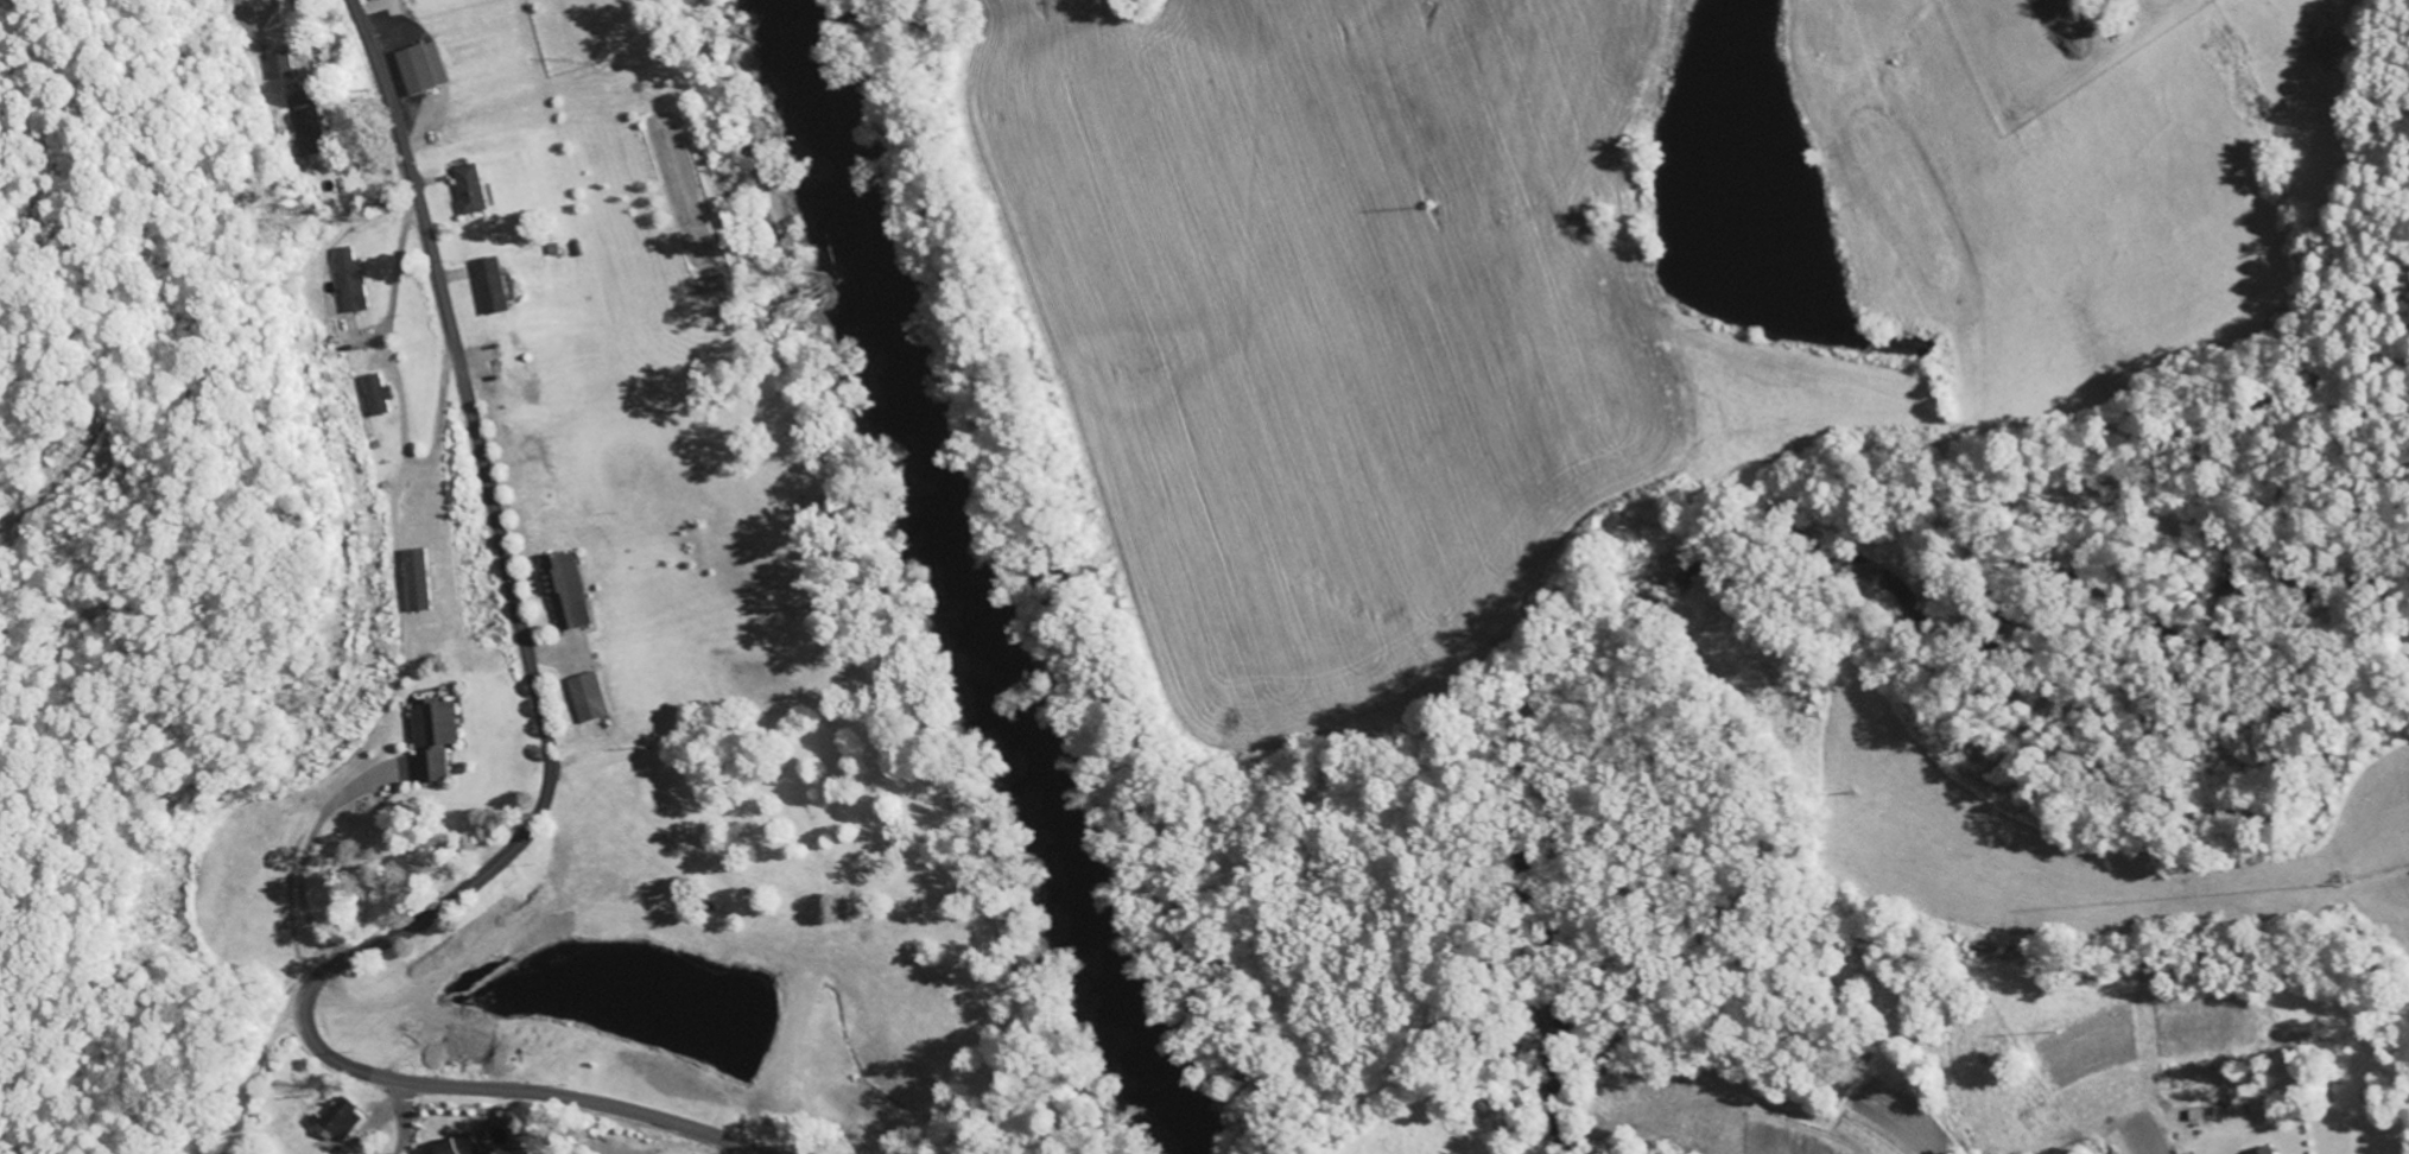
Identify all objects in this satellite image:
building: (215, 0)
building: (277, 64)
building: (420, 68)
building: (304, 118)
building: (468, 189)
building: (348, 280)
building: (489, 285)
building: (373, 394)
river: (972, 578)
building: (413, 579)
building: (564, 591)
building: (587, 697)
road: (543, 798)
building: (331, 1122)
building: (452, 1146)
building: (2263, 1150)

